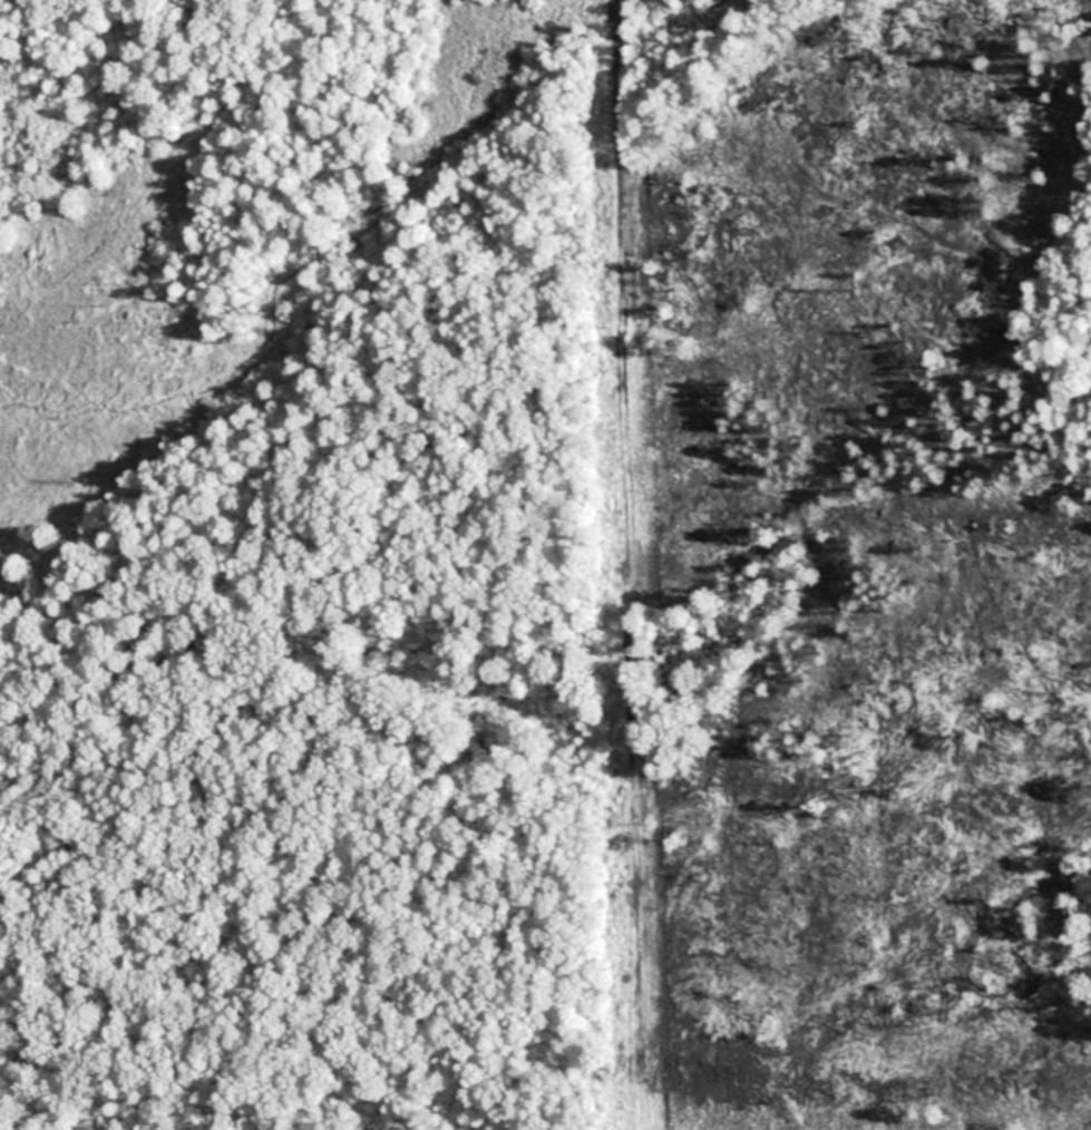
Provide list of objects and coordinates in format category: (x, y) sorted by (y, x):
park: (545, 565)

